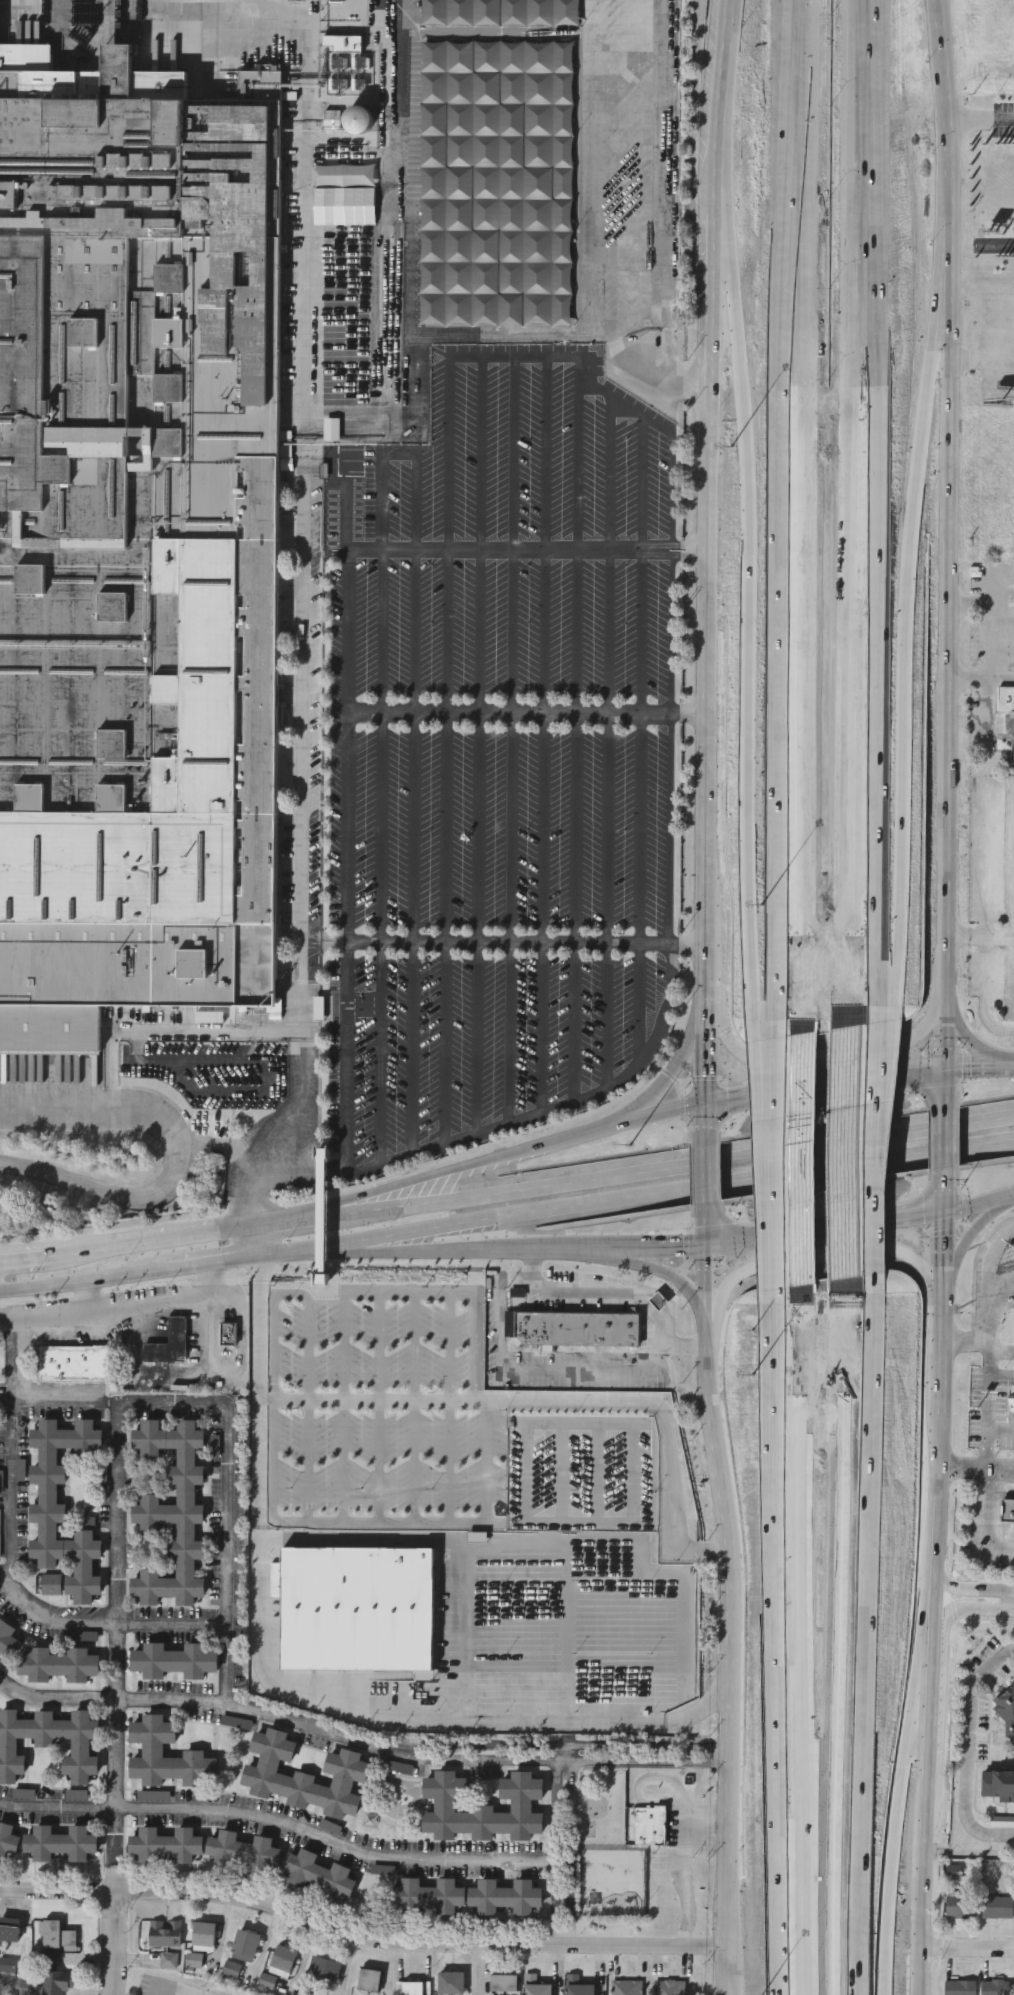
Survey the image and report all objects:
road: (22, 0)
railway: (115, 20)
road: (478, 32)
road: (228, 37)
road: (720, 88)
road: (951, 91)
road: (300, 94)
road: (983, 120)
building: (334, 122)
road: (301, 156)
building: (344, 177)
road: (793, 186)
road: (592, 230)
road: (1001, 245)
road: (714, 279)
building: (388, 482)
building: (408, 482)
road: (877, 511)
building: (137, 545)
road: (705, 547)
road: (489, 548)
road: (305, 579)
road: (999, 595)
road: (749, 603)
road: (914, 603)
road: (951, 627)
road: (415, 630)
road: (641, 630)
road: (989, 659)
road: (981, 679)
building: (1006, 697)
road: (790, 702)
road: (525, 712)
building: (1012, 722)
road: (670, 746)
road: (1001, 756)
road: (382, 826)
road: (414, 826)
road: (448, 827)
road: (703, 838)
building: (1010, 853)
road: (985, 901)
road: (348, 907)
road: (543, 912)
road: (510, 917)
road: (478, 921)
road: (982, 934)
road: (317, 941)
road: (498, 943)
road: (685, 944)
building: (1008, 976)
road: (218, 1030)
road: (445, 1042)
road: (968, 1043)
road: (413, 1046)
road: (380, 1050)
road: (706, 1054)
road: (678, 1065)
road: (807, 1065)
road: (979, 1069)
traffic signals: (946, 1072)
road: (918, 1076)
road: (305, 1086)
road: (946, 1089)
road: (798, 1092)
road: (72, 1102)
traffic signals: (706, 1106)
road: (555, 1107)
road: (947, 1142)
road: (525, 1154)
road: (680, 1163)
road: (877, 1164)
road: (764, 1170)
road: (791, 1170)
road: (706, 1184)
road: (135, 1195)
road: (633, 1199)
road: (247, 1204)
road: (980, 1206)
traffic signals: (946, 1215)
road: (297, 1219)
road: (856, 1227)
road: (116, 1230)
road: (706, 1234)
road: (187, 1236)
road: (421, 1241)
road: (504, 1241)
road: (573, 1241)
road: (250, 1242)
road: (736, 1242)
road: (660, 1243)
road: (944, 1244)
traffic signals: (706, 1245)
road: (87, 1251)
road: (477, 1251)
road: (966, 1252)
road: (23, 1257)
gas station: (1006, 1257)
road: (209, 1263)
road: (805, 1266)
road: (256, 1268)
road: (675, 1273)
road: (478, 1276)
road: (83, 1282)
road: (610, 1290)
road: (467, 1291)
road: (290, 1293)
road: (87, 1295)
road: (123, 1307)
road: (706, 1310)
building: (578, 1331)
building: (228, 1335)
road: (978, 1339)
building: (169, 1346)
building: (72, 1361)
road: (11, 1363)
road: (535, 1368)
road: (1001, 1376)
road: (941, 1386)
building: (1011, 1398)
road: (57, 1400)
road: (562, 1400)
road: (259, 1402)
road: (344, 1404)
road: (379, 1405)
road: (414, 1405)
road: (449, 1405)
road: (990, 1412)
road: (1002, 1431)
road: (975, 1465)
road: (792, 1473)
road: (770, 1476)
road: (1003, 1494)
road: (9, 1499)
building: (63, 1506)
building: (1007, 1511)
building: (172, 1512)
road: (437, 1520)
building: (0, 1535)
road: (656, 1544)
building: (52, 1586)
road: (225, 1589)
road: (969, 1590)
road: (106, 1618)
building: (418, 1623)
road: (116, 1632)
building: (6, 1636)
road: (568, 1637)
road: (864, 1650)
road: (1001, 1656)
building: (173, 1660)
road: (259, 1662)
building: (59, 1665)
road: (944, 1667)
road: (735, 1683)
road: (111, 1699)
building: (1004, 1709)
road: (928, 1727)
building: (49, 1743)
road: (635, 1743)
road: (481, 1744)
road: (711, 1746)
road: (726, 1750)
road: (565, 1751)
building: (155, 1754)
road: (713, 1755)
road: (481, 1757)
road: (637, 1760)
road: (565, 1762)
road: (969, 1764)
road: (560, 1767)
building: (304, 1776)
building: (997, 1786)
road: (897, 1794)
building: (483, 1807)
road: (798, 1816)
road: (278, 1824)
building: (8, 1840)
road: (570, 1842)
building: (60, 1843)
road: (709, 1844)
building: (166, 1845)
road: (556, 1846)
building: (244, 1851)
road: (686, 1856)
building: (319, 1874)
road: (115, 1877)
building: (427, 1895)
building: (505, 1896)
building: (959, 1906)
building: (995, 1907)
road: (557, 1929)
road: (565, 1929)
building: (11, 1931)
building: (166, 1936)
building: (206, 1936)
road: (362, 1937)
building: (60, 1938)
road: (561, 1940)
road: (113, 1943)
building: (248, 1944)
road: (968, 1957)
building: (169, 1962)
building: (285, 1962)
building: (8, 1967)
building: (232, 1970)
building: (326, 1970)
building: (55, 1977)
building: (372, 1982)
building: (269, 1983)
building: (452, 1984)
building: (505, 1984)
road: (174, 1987)
building: (536, 1987)
building: (579, 1987)
building: (957, 1987)
building: (994, 1987)
building: (166, 1988)
building: (627, 1988)
building: (669, 1988)
building: (417, 1989)
building: (1013, 1994)

